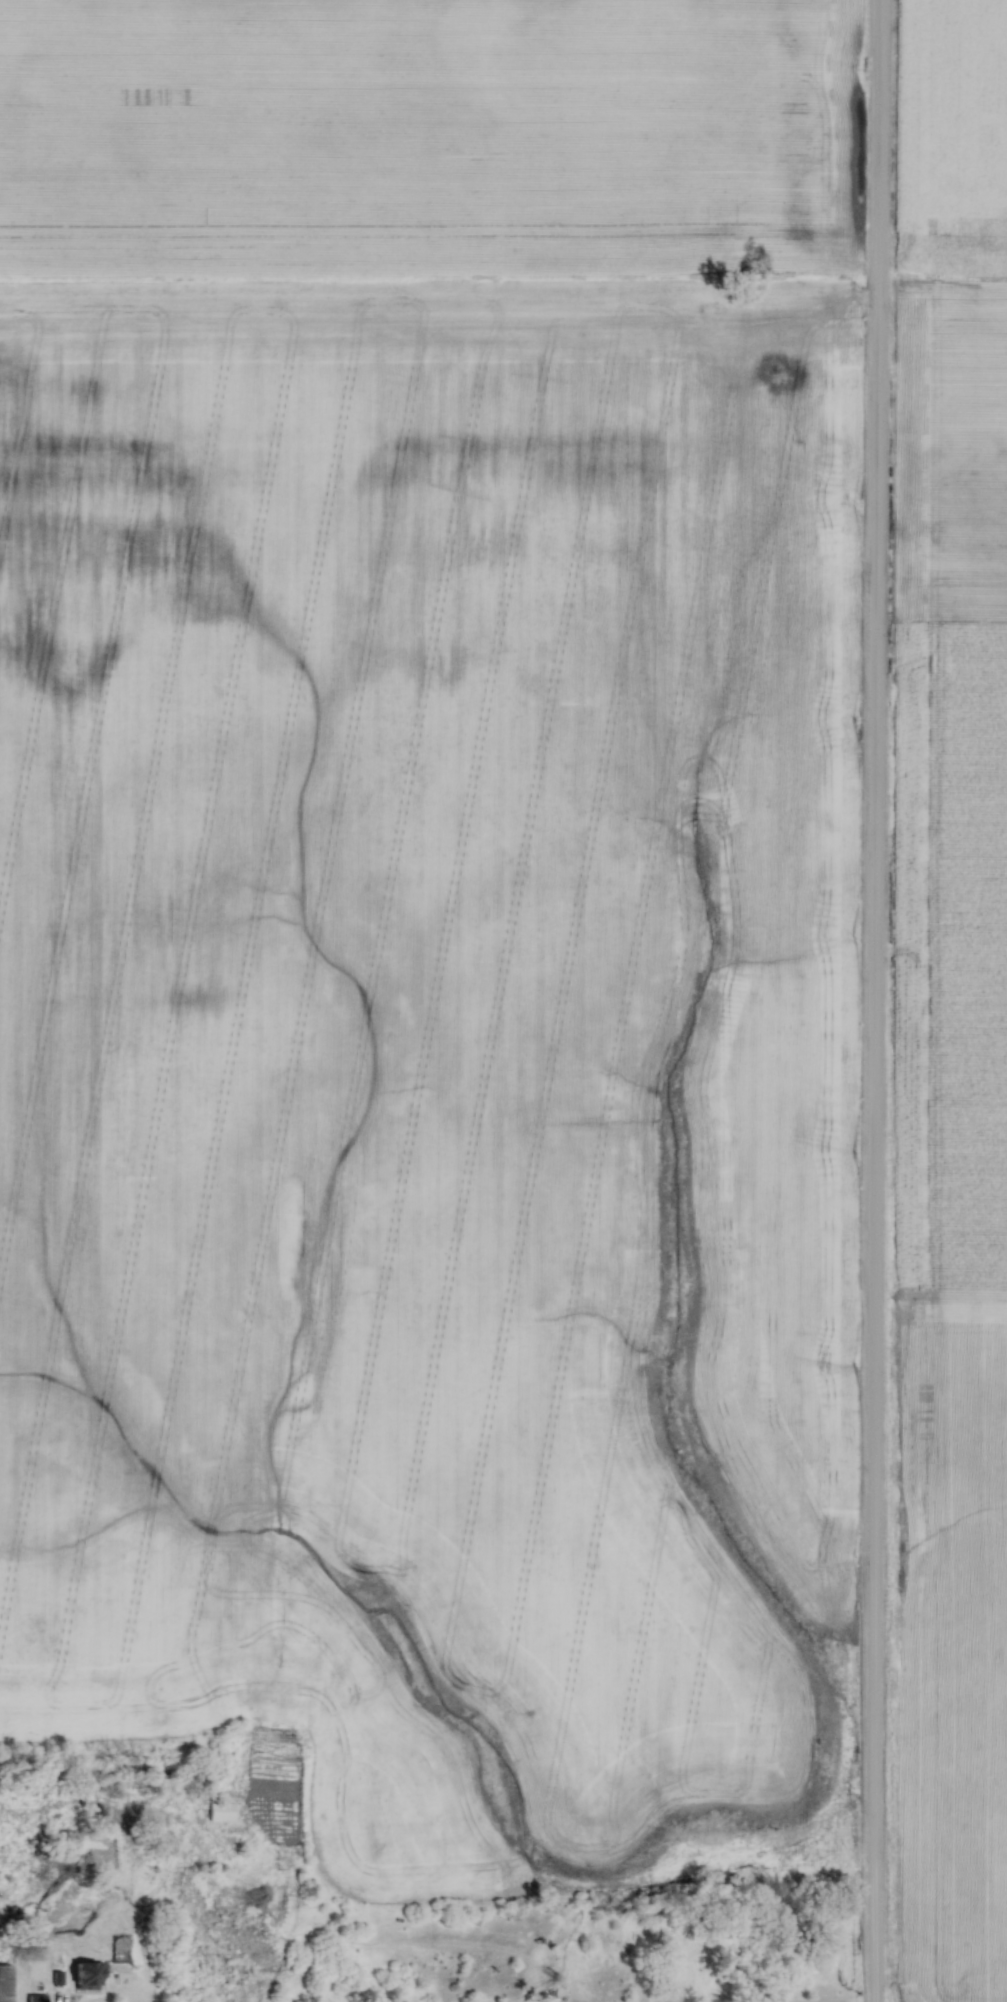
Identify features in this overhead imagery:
road: (873, 1000)
building: (225, 1811)
building: (93, 1976)
building: (9, 1983)
building: (40, 1998)

